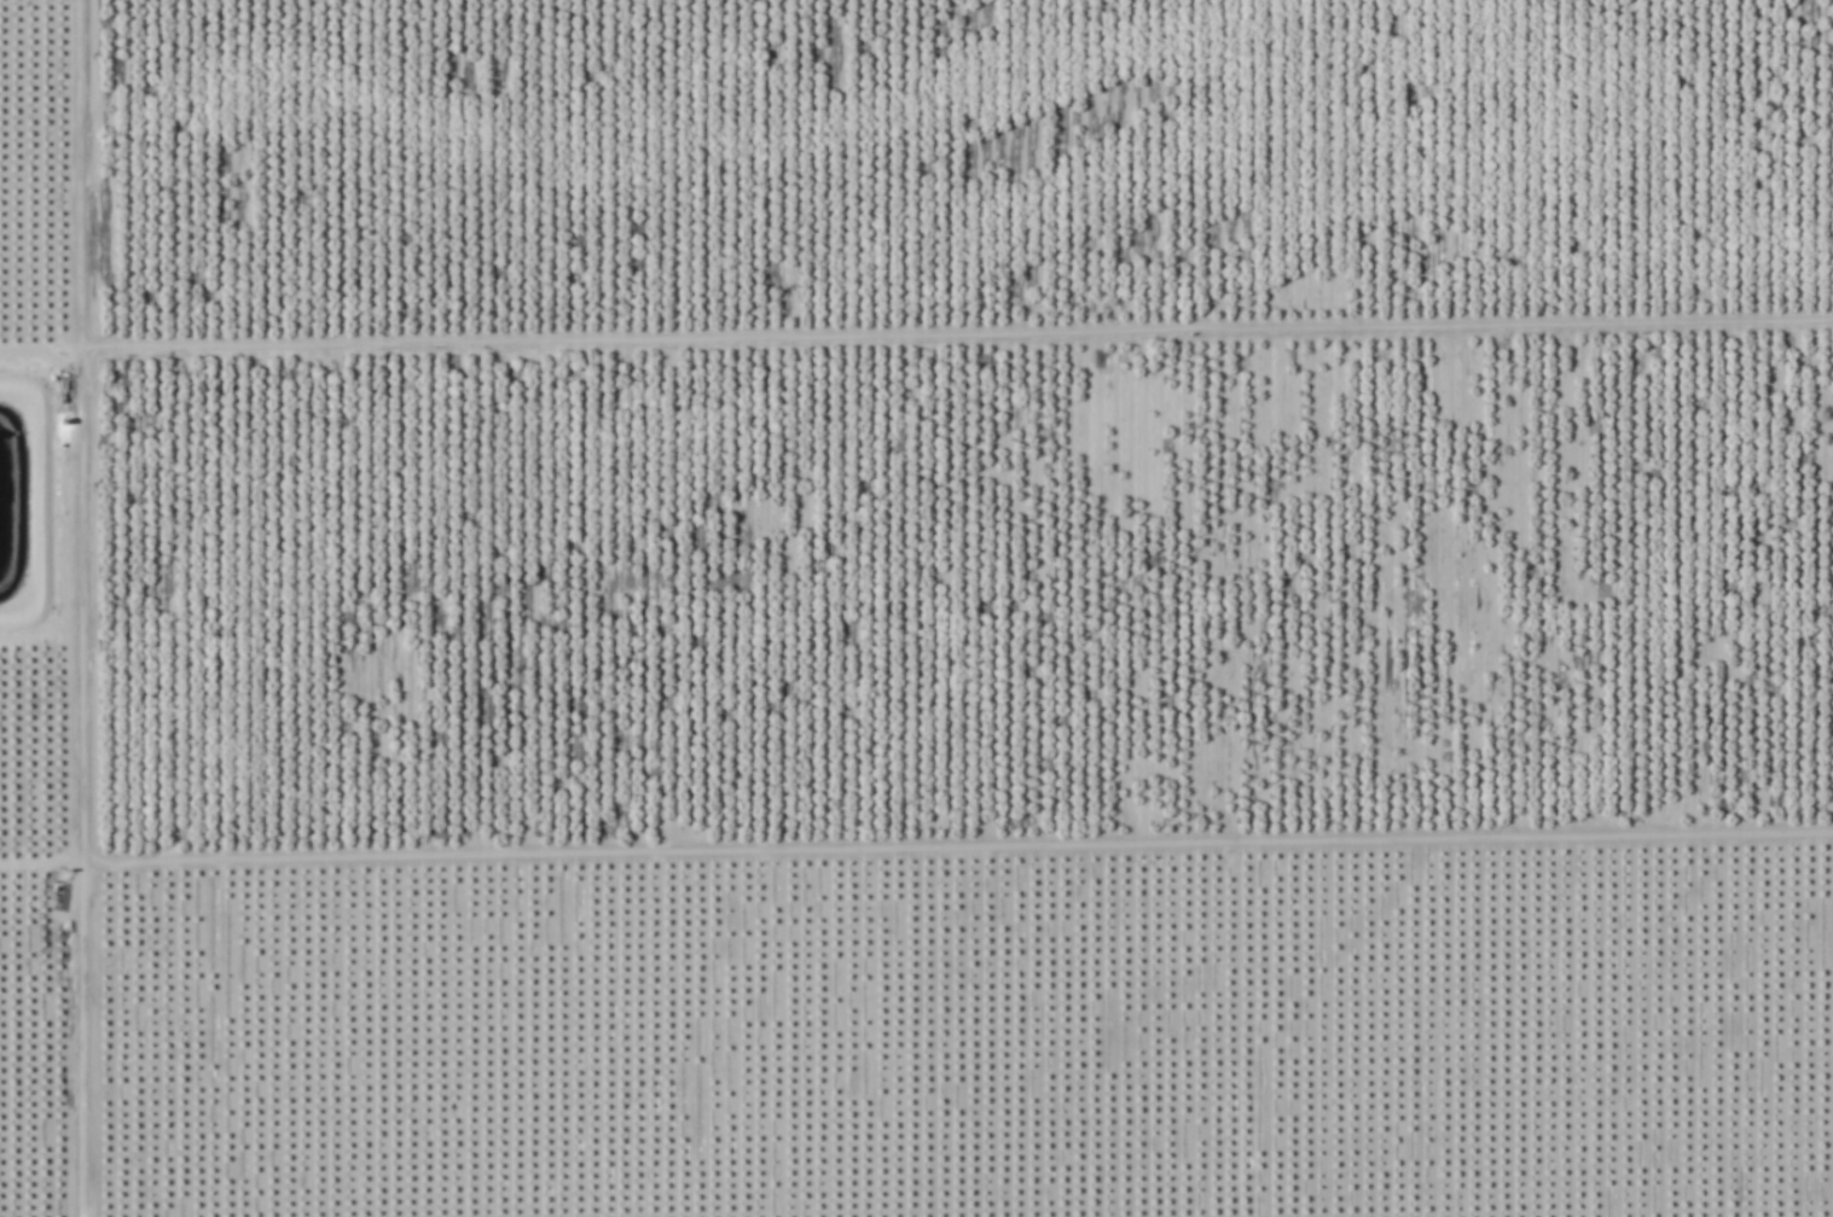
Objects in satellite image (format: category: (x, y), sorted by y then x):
road: (916, 835)

